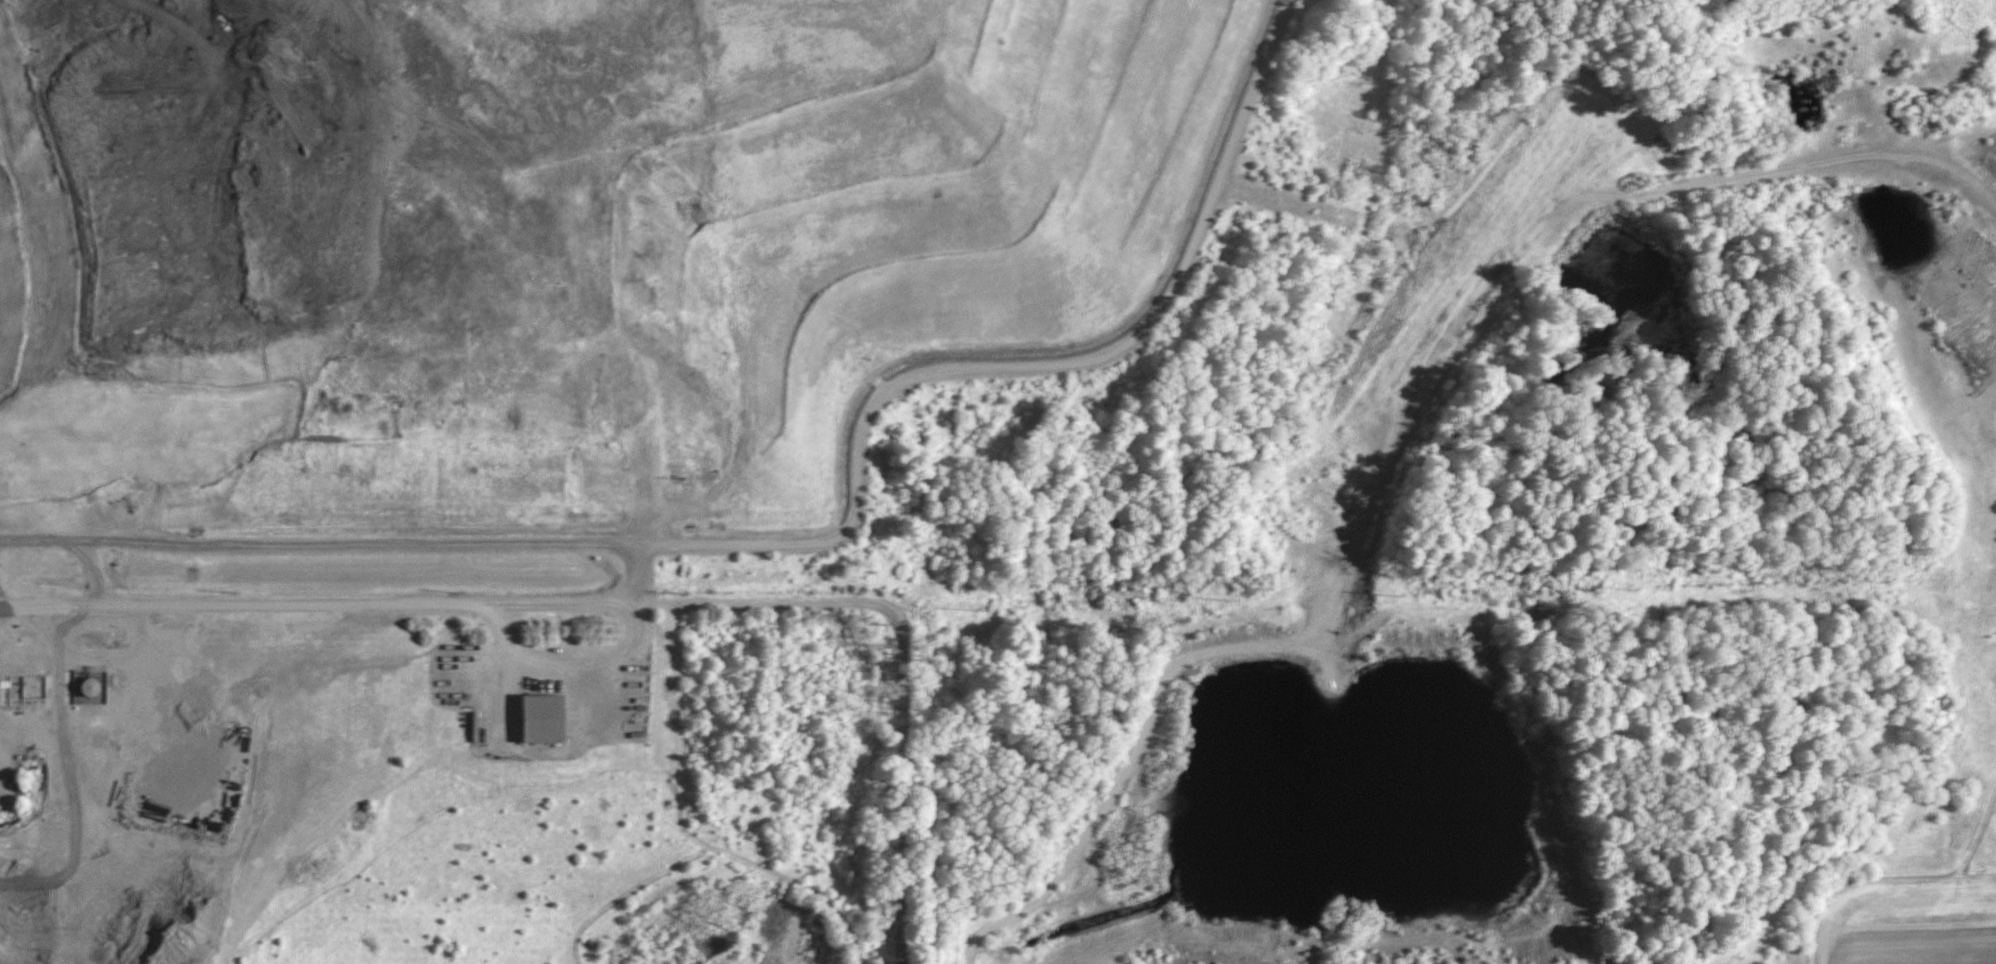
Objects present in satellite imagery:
road: (341, 545)
road: (90, 570)
road: (431, 604)
road: (568, 666)
road: (60, 695)
building: (546, 718)
road: (900, 772)

